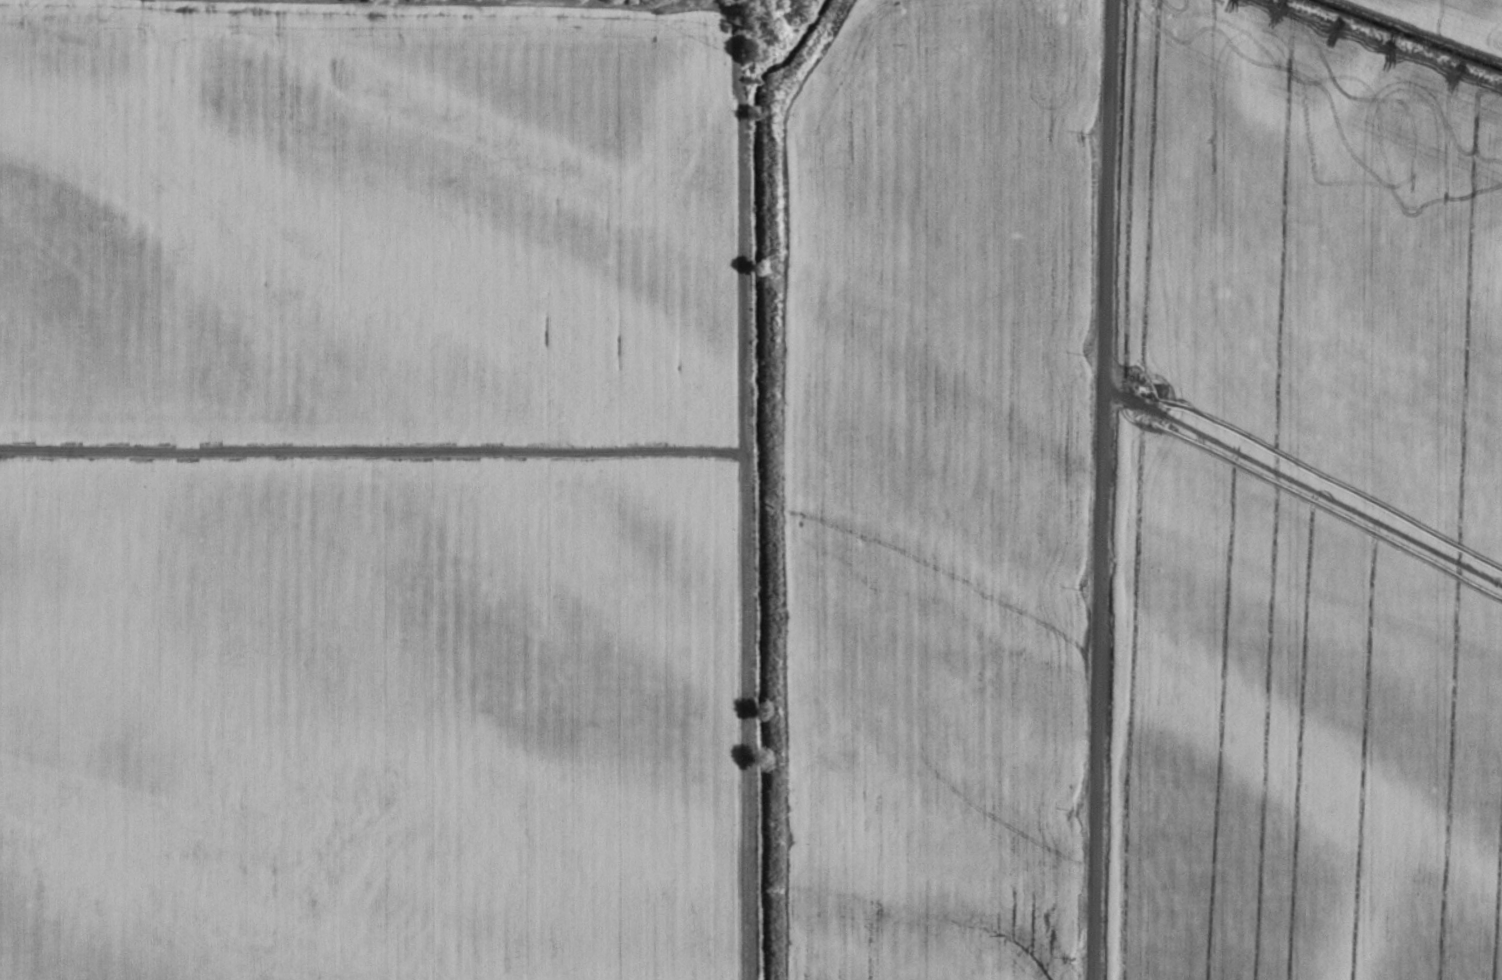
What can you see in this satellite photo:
road: (1106, 489)

